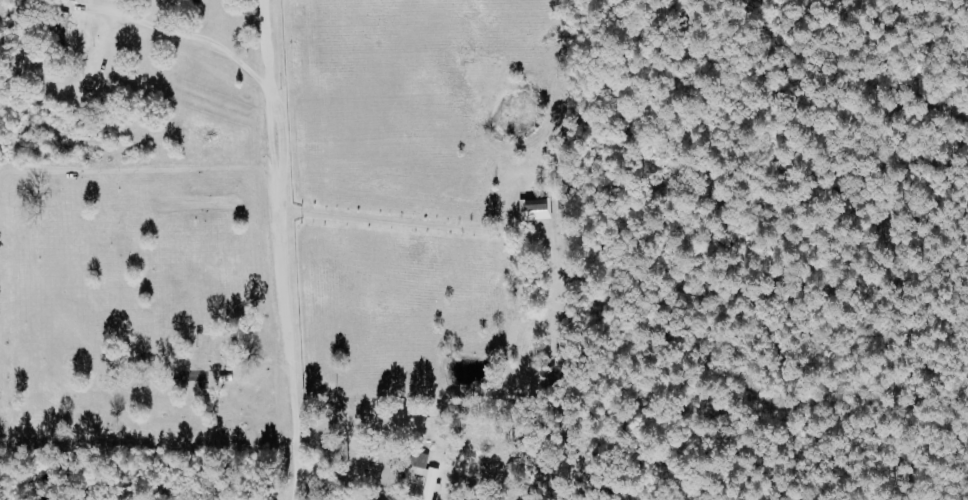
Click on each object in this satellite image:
road: (192, 40)
building: (542, 206)
road: (413, 224)
road: (278, 250)
building: (427, 474)

